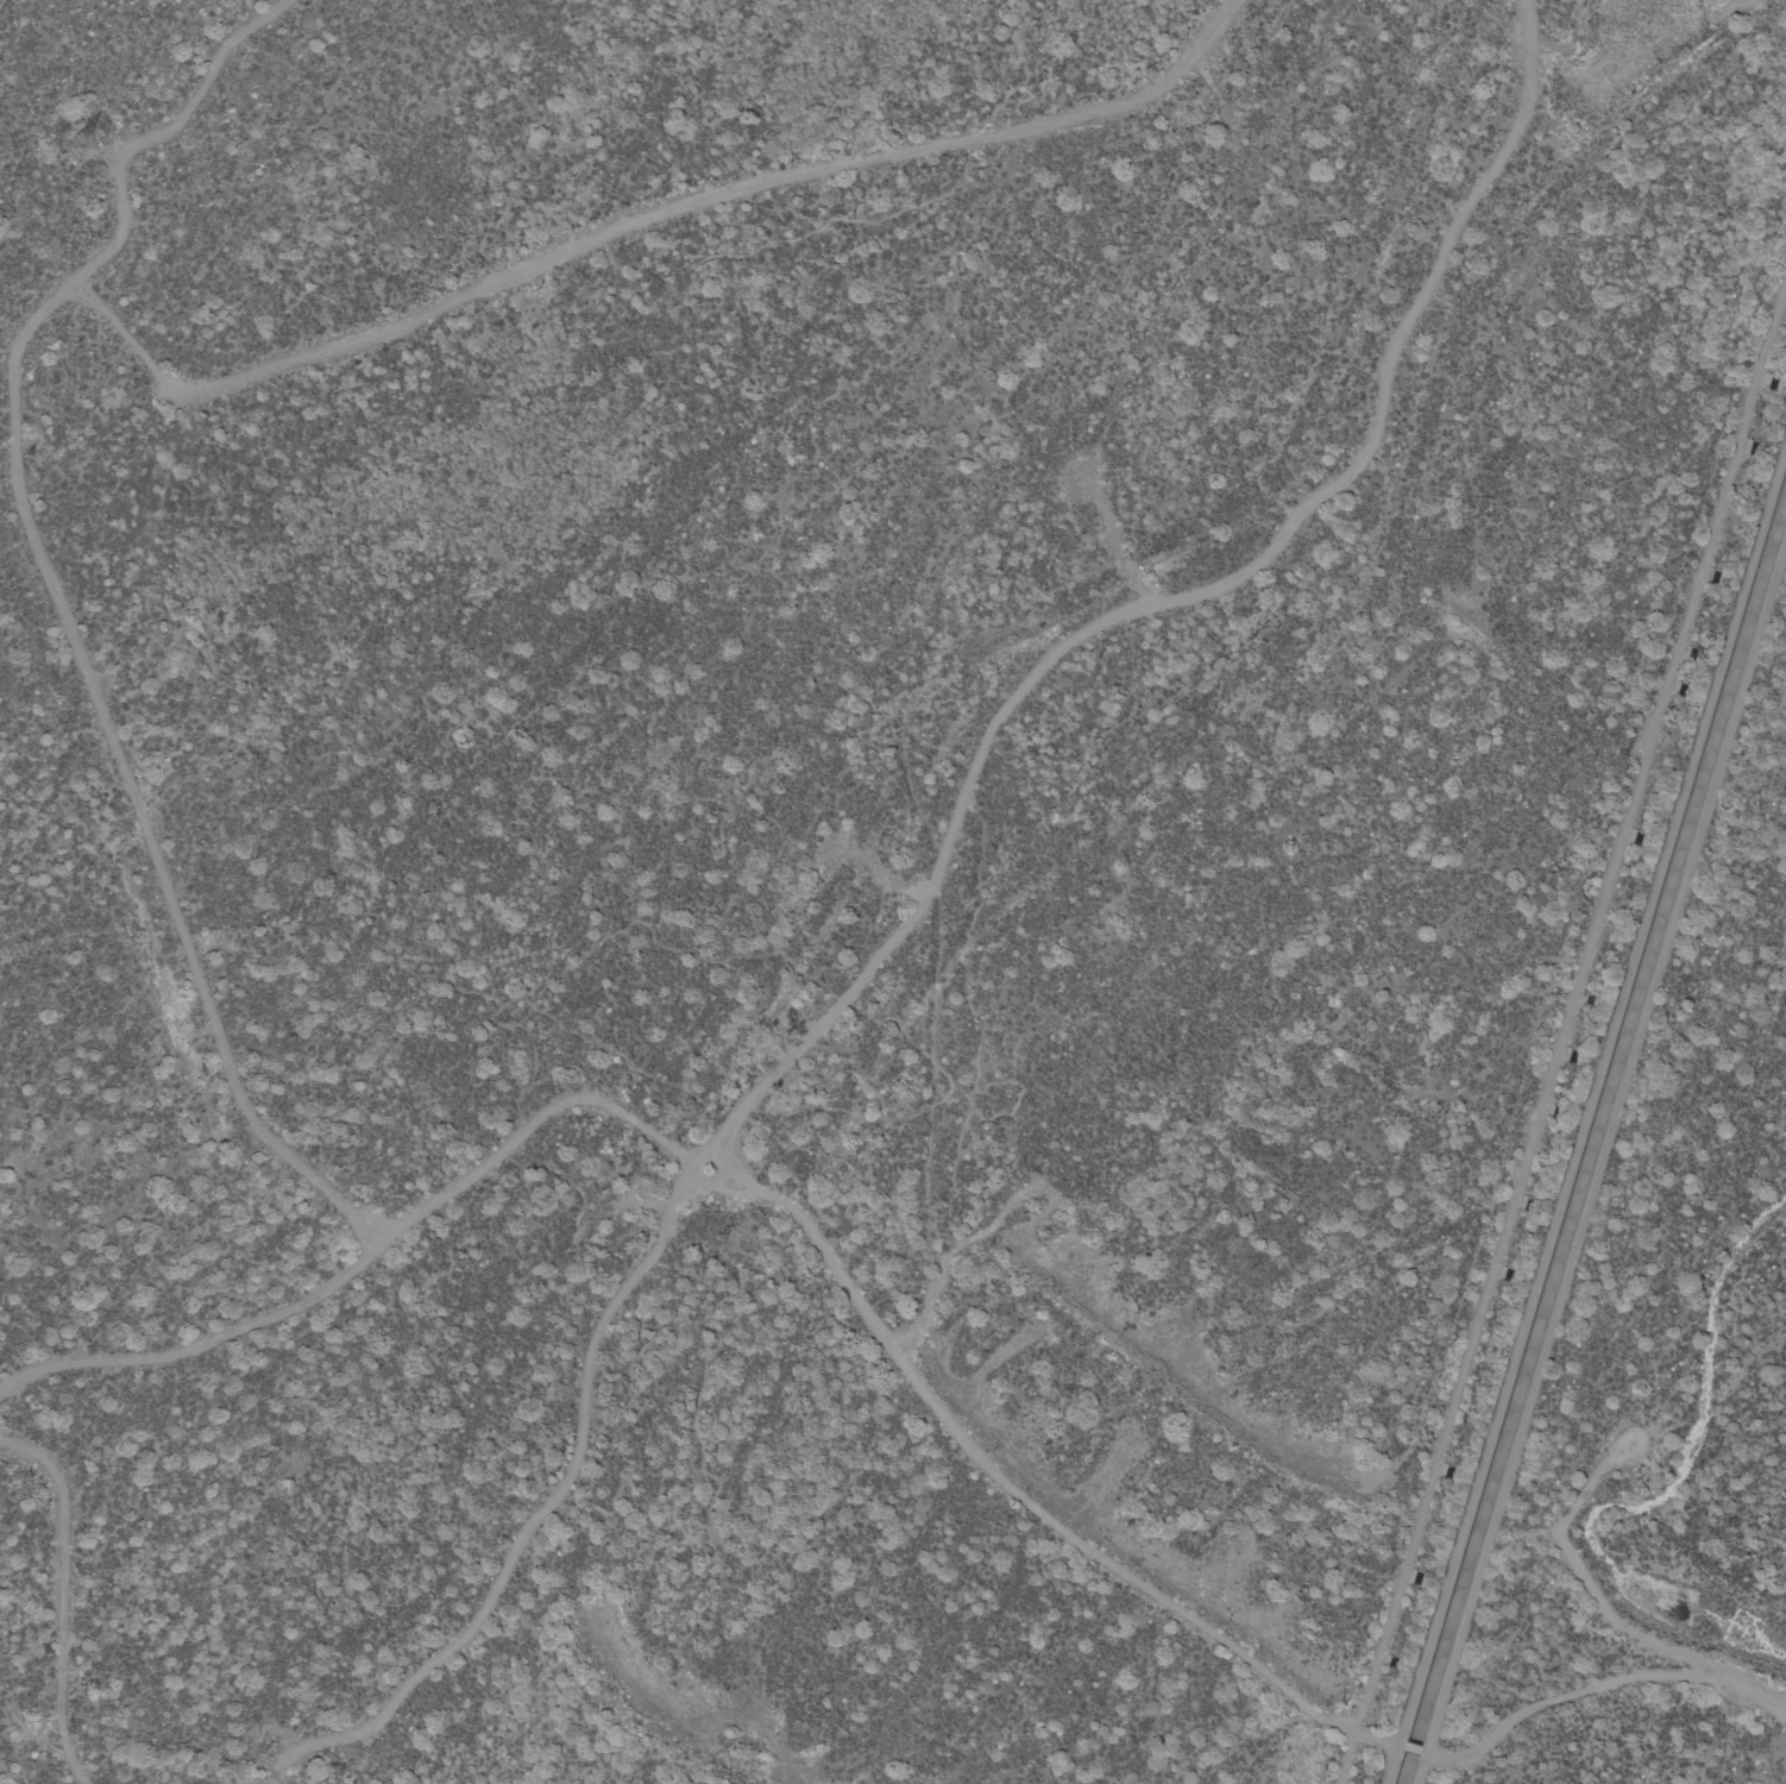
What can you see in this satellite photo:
power tower: (78, 152)

